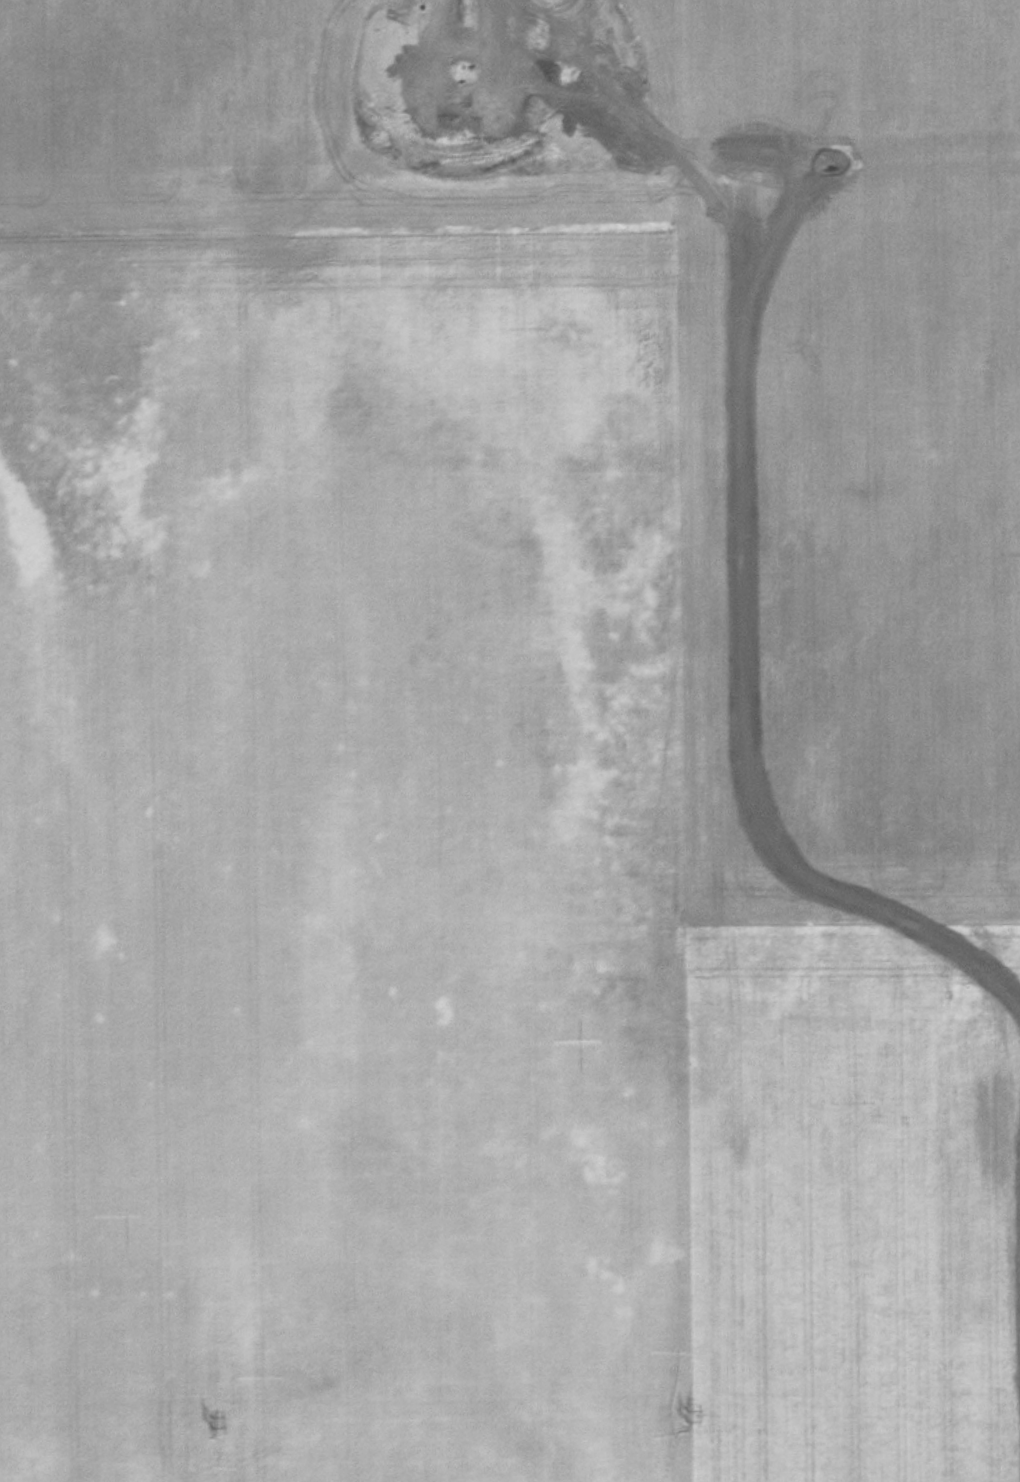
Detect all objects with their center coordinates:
power tower: (696, 1416)
power tower: (222, 1423)

